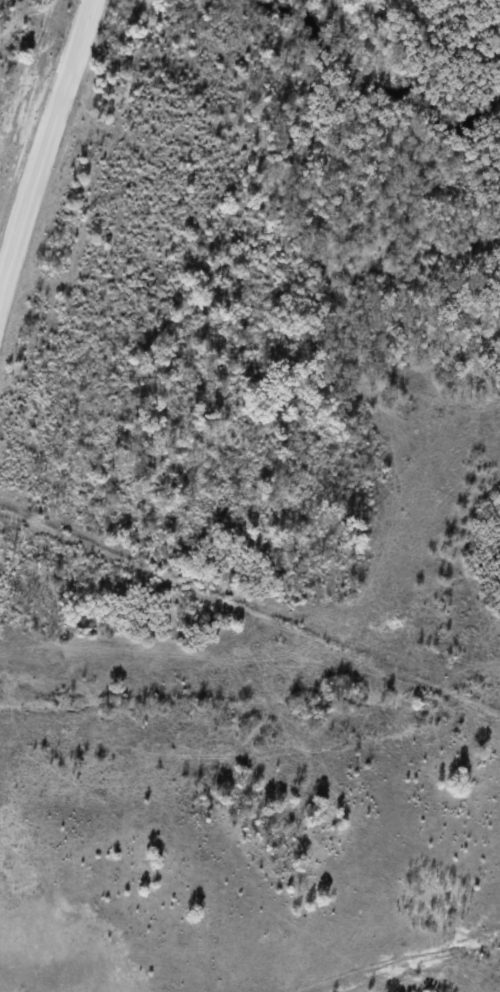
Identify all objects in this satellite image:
road: (48, 149)

